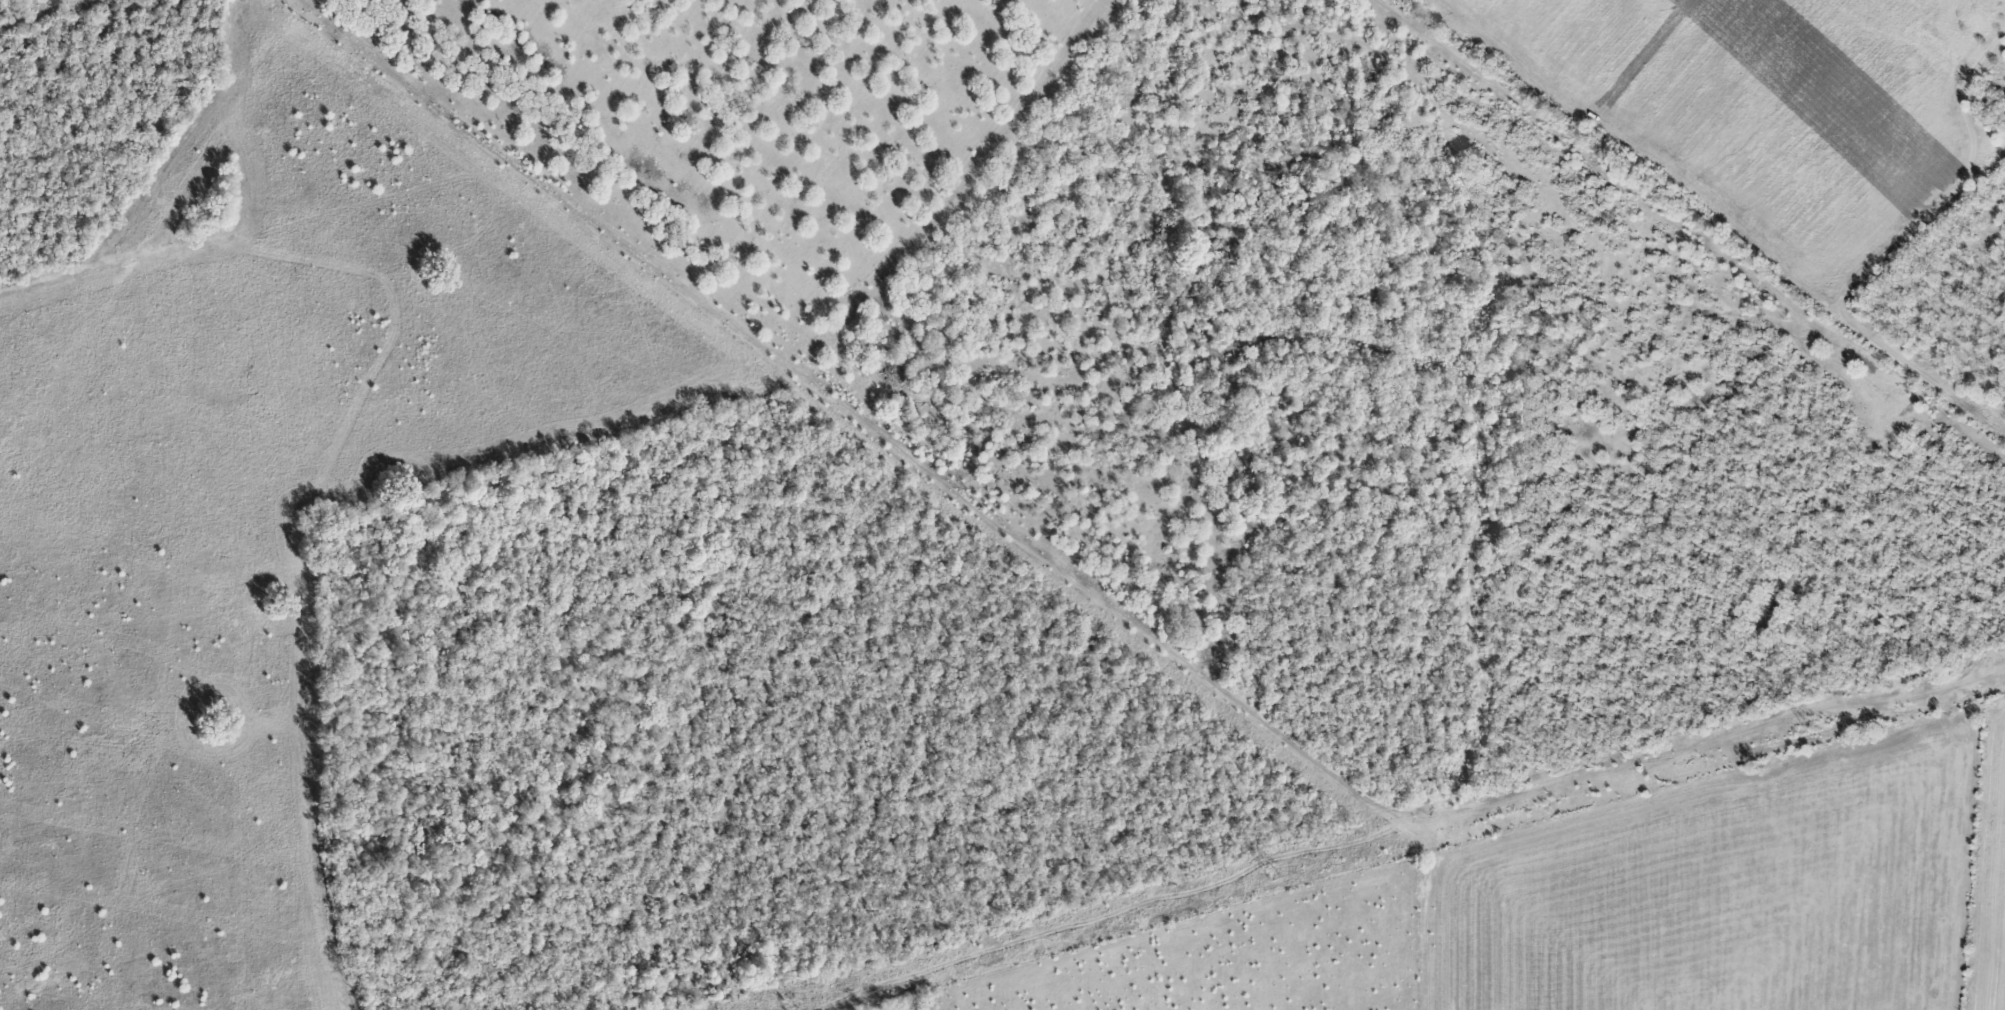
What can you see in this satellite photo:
quarry: (28, 8)
power tower: (1816, 728)
power tower: (1275, 877)
power tower: (793, 1008)

